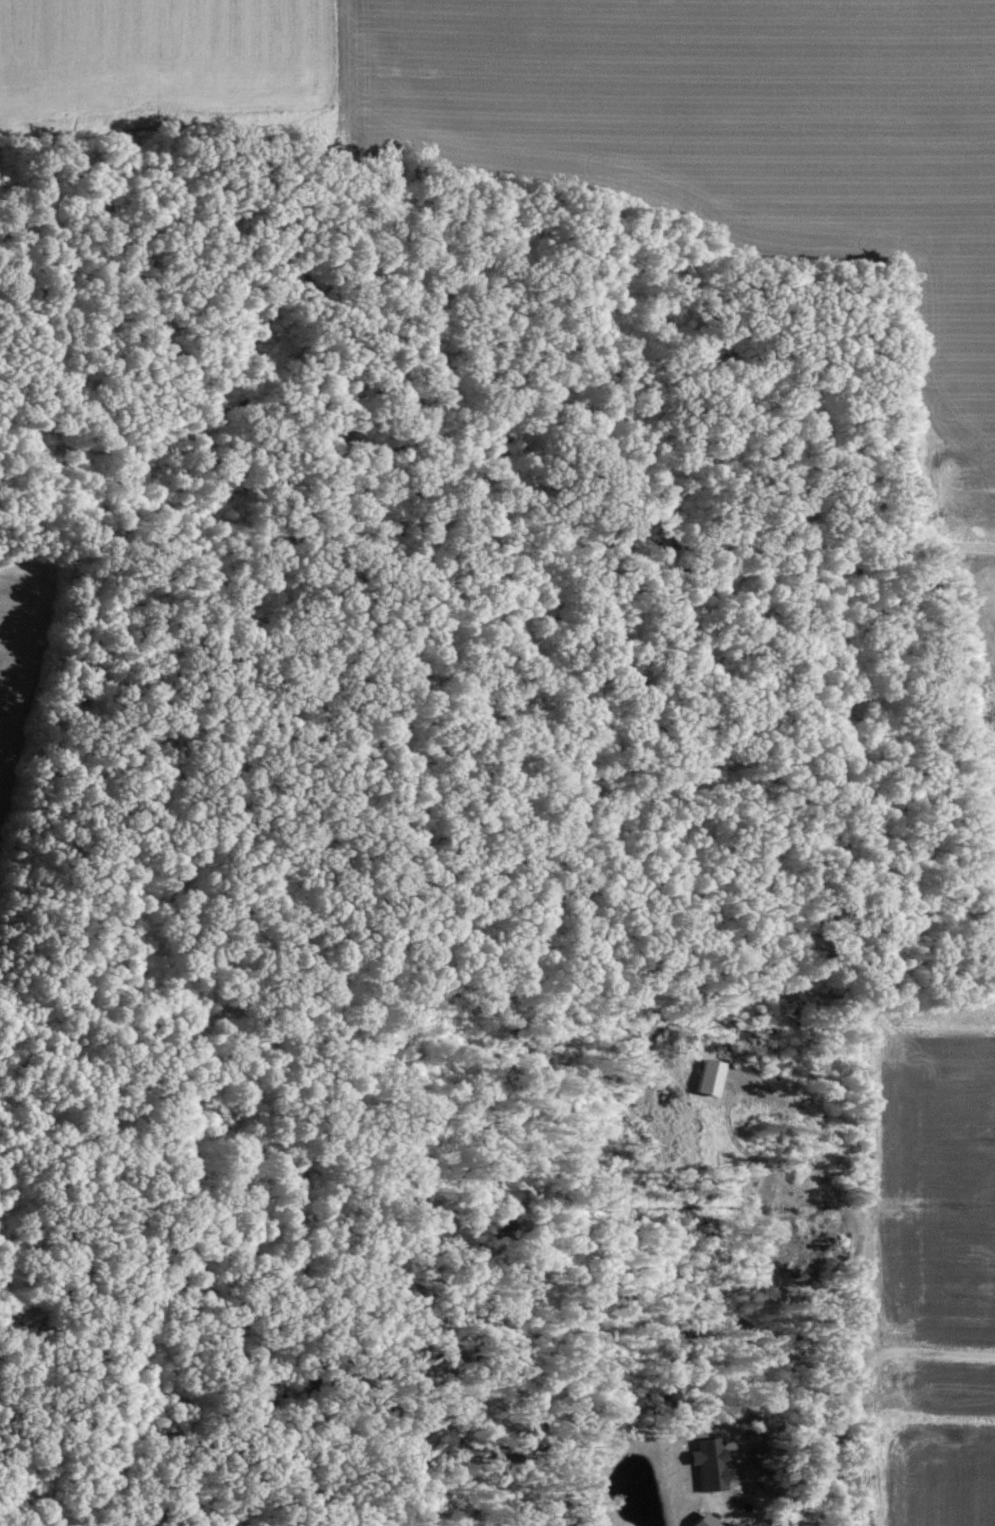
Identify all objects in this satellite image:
building: (710, 1077)
road: (844, 1200)
road: (856, 1388)
building: (710, 1464)
building: (705, 1521)

